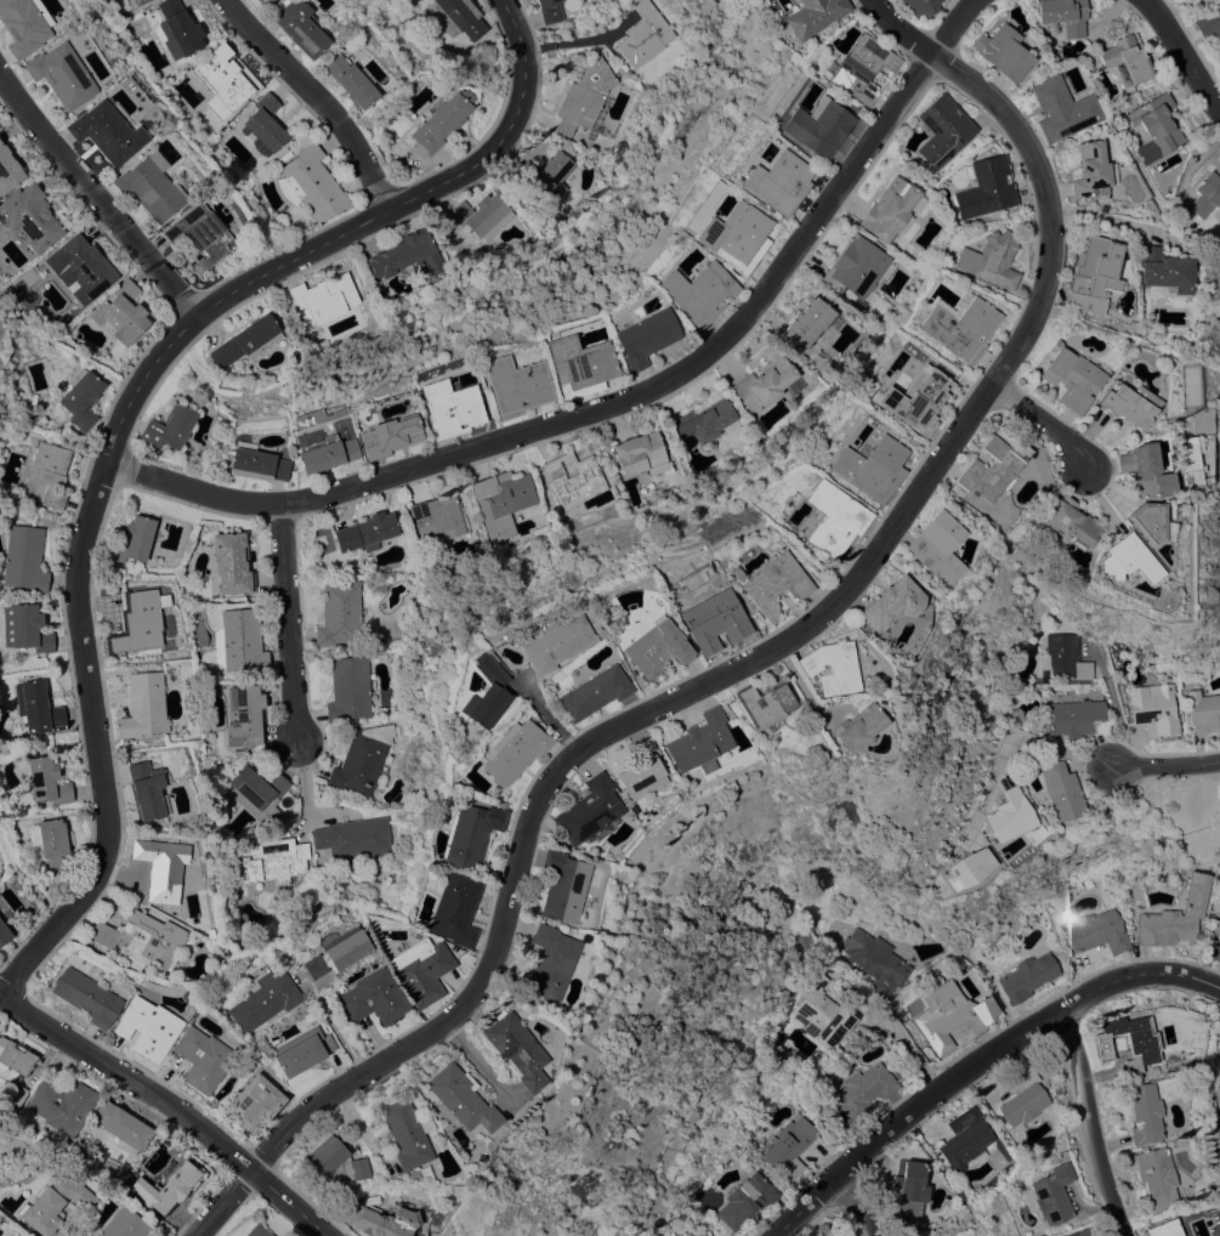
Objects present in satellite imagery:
building: (136, 1)
building: (259, 1)
building: (921, 6)
building: (549, 11)
building: (1062, 15)
building: (813, 16)
building: (458, 17)
building: (1209, 23)
building: (23, 25)
road: (897, 25)
building: (300, 27)
road: (946, 27)
building: (177, 29)
building: (645, 35)
road: (575, 39)
building: (1003, 52)
road: (1178, 52)
building: (1125, 59)
building: (862, 67)
building: (61, 75)
building: (222, 76)
building: (350, 81)
building: (585, 96)
road: (314, 98)
building: (1061, 109)
building: (439, 121)
building: (1158, 121)
building: (263, 125)
building: (817, 126)
building: (943, 129)
building: (107, 132)
building: (1142, 153)
building: (282, 157)
building: (1091, 169)
building: (8, 170)
building: (546, 176)
building: (777, 182)
building: (311, 185)
building: (986, 187)
building: (151, 188)
building: (1207, 194)
road: (1056, 197)
road: (87, 200)
building: (889, 209)
building: (482, 215)
building: (29, 216)
road: (1112, 217)
building: (199, 234)
building: (734, 237)
building: (405, 255)
building: (991, 260)
building: (855, 266)
building: (1095, 266)
building: (80, 267)
building: (1162, 272)
building: (698, 291)
building: (324, 299)
building: (121, 313)
building: (806, 322)
building: (959, 327)
building: (645, 338)
building: (246, 340)
building: (579, 365)
building: (1068, 379)
building: (765, 384)
building: (516, 385)
building: (914, 398)
building: (80, 399)
building: (1124, 403)
road: (119, 407)
building: (450, 408)
road: (589, 410)
road: (1034, 421)
building: (1196, 421)
building: (702, 423)
building: (170, 427)
building: (390, 437)
building: (325, 453)
building: (640, 454)
building: (1181, 461)
building: (988, 464)
building: (257, 465)
building: (868, 467)
building: (1140, 471)
building: (46, 475)
building: (573, 478)
building: (500, 503)
building: (436, 517)
building: (829, 518)
building: (1065, 521)
building: (1144, 523)
building: (365, 531)
building: (540, 531)
building: (132, 539)
building: (930, 548)
building: (24, 559)
building: (1122, 560)
building: (228, 562)
building: (731, 572)
building: (767, 584)
building: (883, 603)
building: (339, 613)
building: (703, 618)
road: (285, 620)
building: (136, 622)
building: (25, 628)
building: (239, 641)
building: (551, 645)
building: (649, 648)
building: (1062, 658)
building: (1040, 664)
building: (821, 667)
building: (348, 688)
building: (482, 692)
building: (586, 693)
building: (754, 702)
building: (143, 705)
building: (36, 707)
building: (1153, 710)
building: (1204, 710)
building: (1073, 716)
building: (243, 718)
building: (846, 727)
building: (688, 742)
road: (1009, 743)
building: (509, 752)
building: (361, 760)
road: (1164, 767)
road: (543, 771)
building: (632, 771)
road: (302, 776)
building: (46, 781)
building: (144, 790)
building: (257, 792)
building: (1060, 792)
building: (580, 810)
building: (1008, 815)
building: (466, 835)
building: (353, 840)
building: (52, 845)
building: (269, 861)
building: (968, 867)
building: (159, 868)
building: (556, 886)
building: (452, 909)
building: (1175, 917)
building: (1094, 930)
building: (1219, 931)
building: (4, 934)
building: (142, 937)
building: (336, 952)
building: (219, 954)
building: (875, 960)
building: (544, 962)
building: (420, 973)
road: (1139, 975)
building: (1027, 977)
building: (86, 997)
building: (371, 998)
building: (262, 1000)
building: (822, 1011)
building: (948, 1014)
building: (147, 1027)
road: (1068, 1027)
road: (907, 1039)
building: (1128, 1041)
road: (1004, 1044)
building: (511, 1049)
building: (301, 1050)
building: (204, 1058)
building: (16, 1060)
road: (472, 1064)
building: (1152, 1070)
road: (129, 1081)
building: (863, 1092)
building: (16, 1094)
building: (456, 1099)
building: (1022, 1100)
building: (255, 1102)
building: (61, 1106)
building: (1144, 1113)
building: (121, 1124)
building: (403, 1133)
building: (964, 1139)
building: (87, 1141)
road: (1094, 1143)
building: (790, 1144)
road: (857, 1155)
building: (334, 1160)
building: (1156, 1177)
building: (909, 1187)
building: (166, 1189)
building: (1052, 1195)
building: (747, 1200)
building: (52, 1203)
road: (286, 1203)
road: (856, 1203)
building: (121, 1224)
building: (379, 1224)
building: (1163, 1229)
building: (256, 1230)
building: (1082, 1232)
building: (688, 1234)
building: (679, 1235)
building: (696, 1235)
building: (698, 1235)

